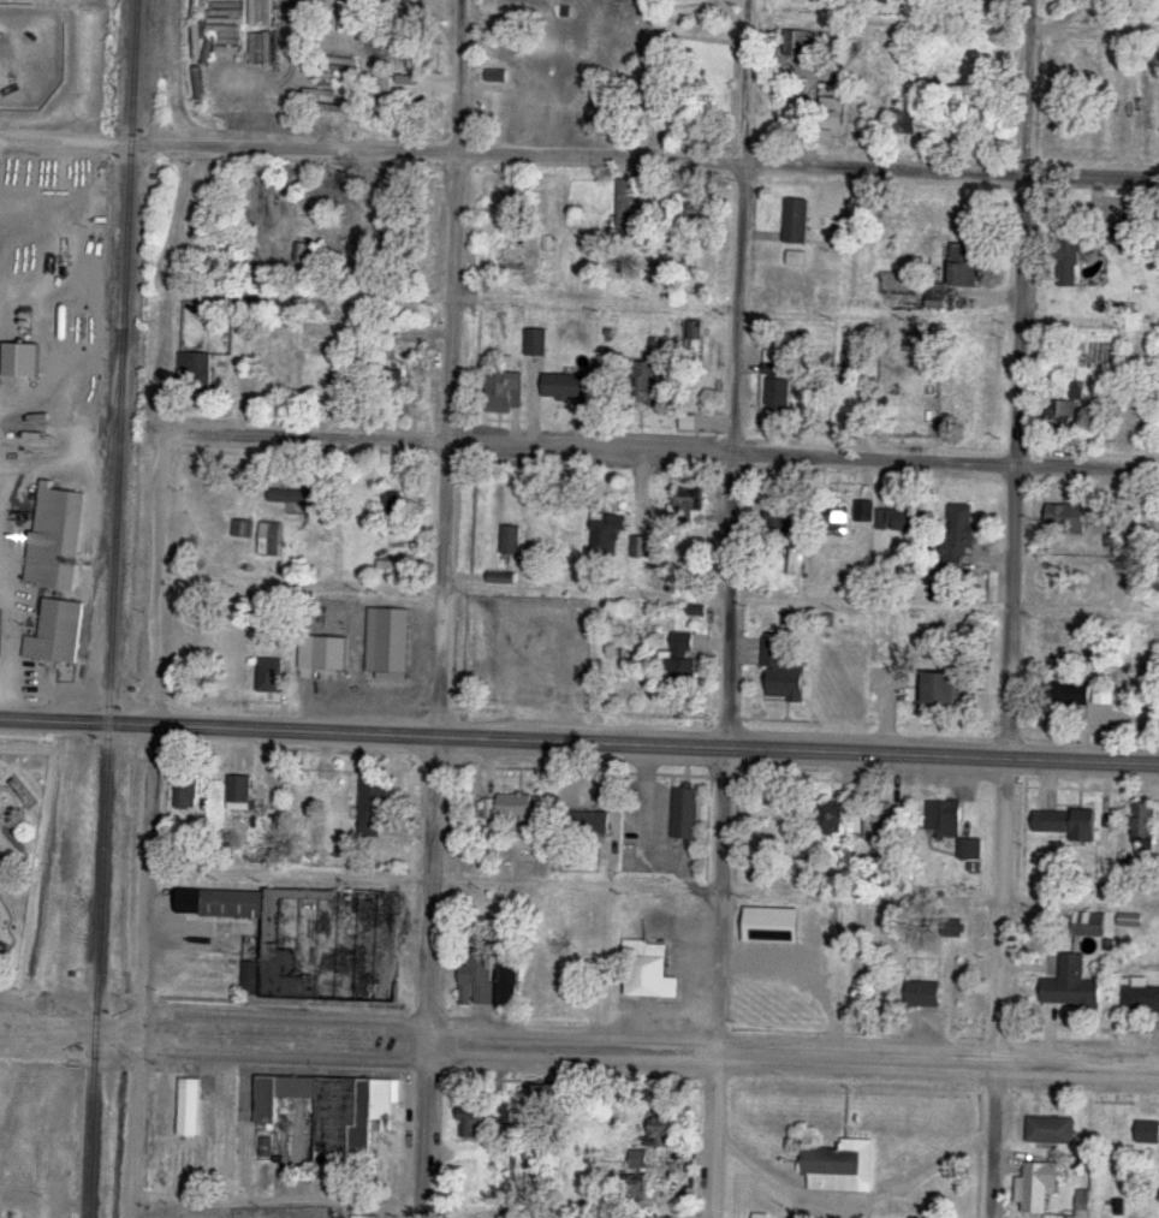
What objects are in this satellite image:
building: (796, 42)
building: (837, 50)
building: (391, 76)
building: (497, 76)
building: (653, 90)
building: (833, 109)
building: (905, 121)
road: (579, 155)
building: (626, 209)
building: (797, 221)
building: (1125, 232)
building: (1071, 254)
building: (506, 255)
building: (967, 263)
building: (896, 283)
building: (937, 299)
building: (536, 343)
building: (25, 361)
building: (200, 373)
building: (777, 381)
building: (642, 382)
building: (564, 386)
building: (505, 393)
building: (1062, 416)
building: (688, 423)
road: (579, 442)
railway: (102, 503)
building: (391, 503)
building: (689, 503)
building: (864, 511)
building: (834, 518)
building: (1068, 519)
building: (778, 521)
building: (898, 521)
building: (608, 534)
building: (959, 535)
building: (57, 537)
building: (511, 540)
building: (269, 541)
building: (640, 548)
building: (796, 562)
railway: (109, 608)
road: (441, 608)
road: (735, 608)
road: (1012, 608)
building: (59, 632)
building: (394, 640)
building: (333, 653)
building: (684, 660)
building: (784, 673)
building: (273, 676)
building: (944, 689)
building: (1086, 693)
road: (579, 739)
road: (155, 785)
building: (188, 791)
building: (240, 795)
building: (516, 806)
building: (375, 808)
building: (687, 813)
building: (946, 820)
building: (1072, 824)
building: (1145, 825)
road: (435, 877)
building: (1090, 925)
building: (314, 940)
building: (646, 972)
building: (491, 974)
building: (250, 978)
building: (1071, 982)
building: (921, 991)
building: (1141, 999)
road: (578, 1045)
building: (279, 1094)
building: (539, 1098)
building: (188, 1107)
building: (349, 1116)
building: (503, 1116)
building: (470, 1125)
building: (662, 1129)
building: (1147, 1129)
building: (1052, 1130)
building: (1117, 1134)
building: (840, 1168)
building: (637, 1172)
road: (773, 1176)
building: (1040, 1186)
road: (275, 1199)

